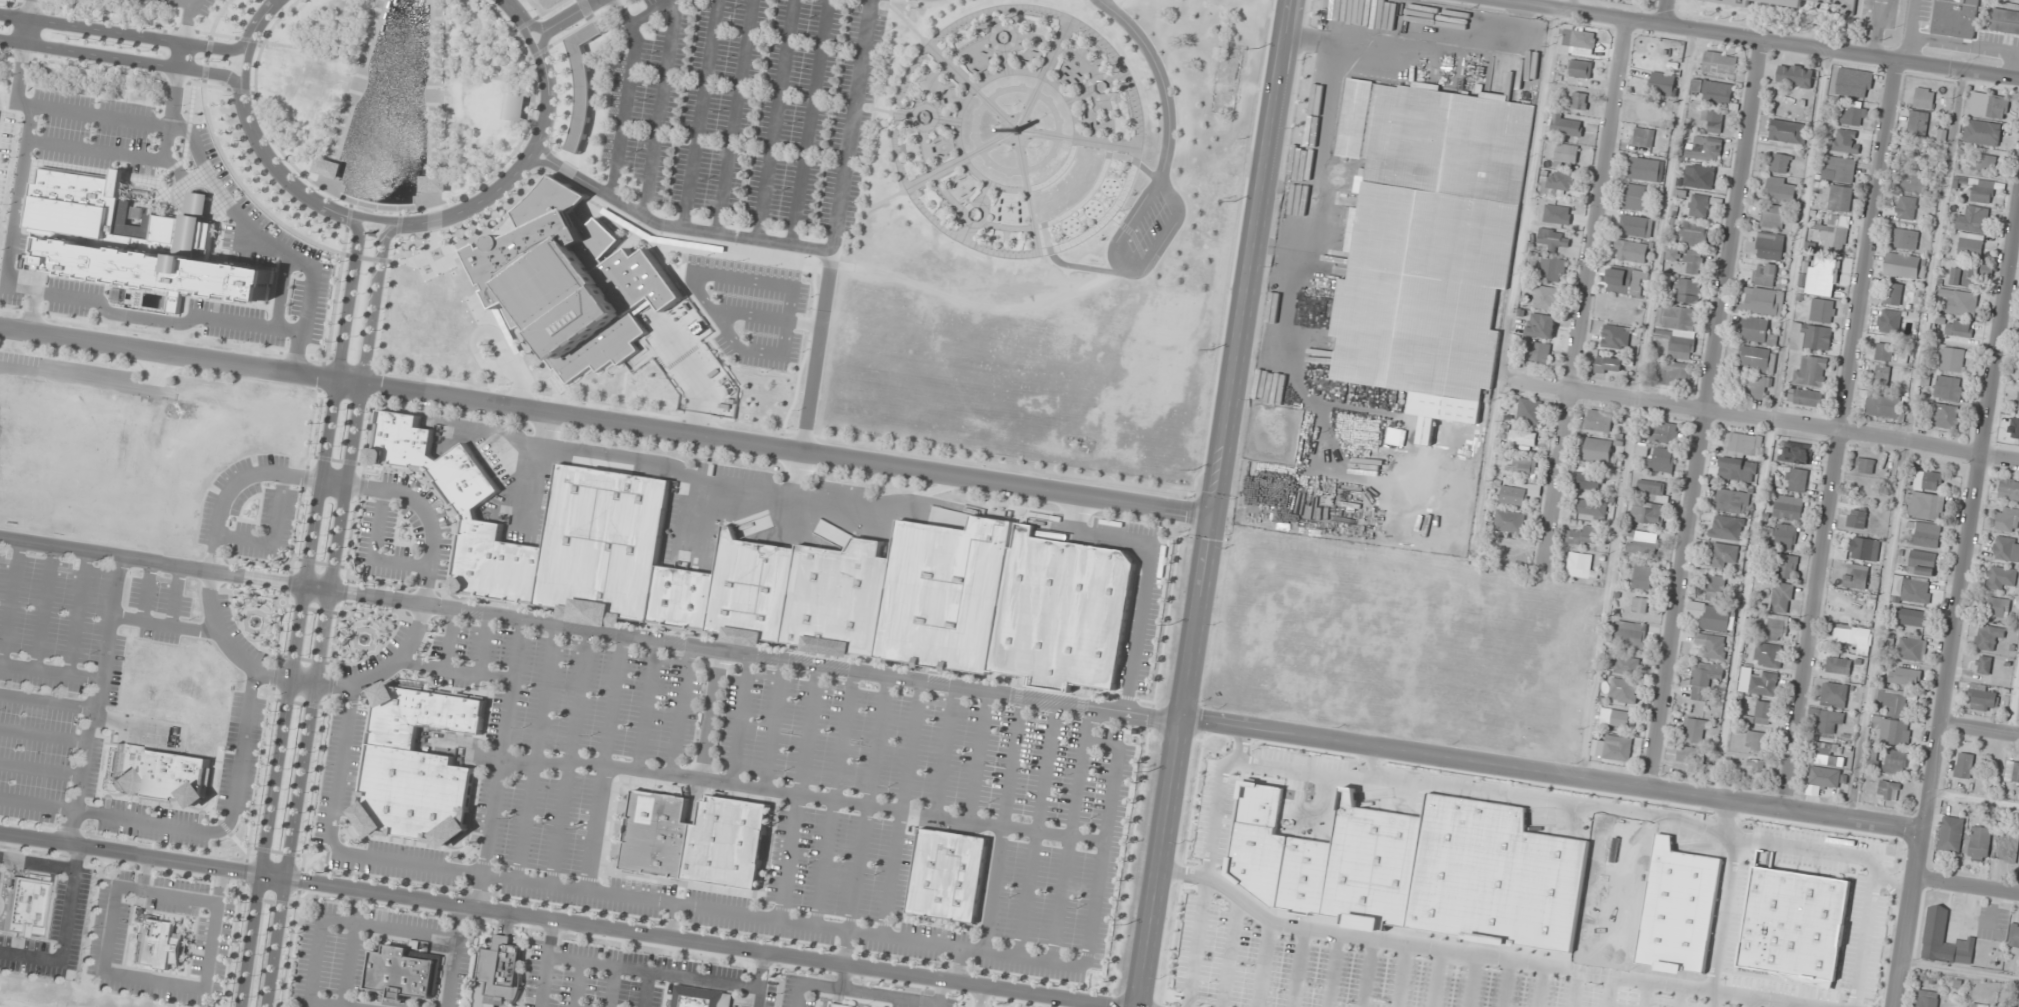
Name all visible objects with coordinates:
road: (273, 1)
road: (183, 2)
building: (1736, 2)
building: (1821, 5)
road: (648, 11)
road: (570, 13)
road: (1667, 13)
building: (1955, 18)
road: (30, 21)
building: (2005, 21)
road: (548, 28)
road: (128, 33)
road: (186, 33)
road: (1096, 37)
road: (482, 40)
road: (1760, 40)
road: (1002, 42)
road: (346, 55)
road: (359, 57)
road: (123, 58)
building: (1719, 63)
road: (953, 67)
building: (1581, 68)
road: (484, 75)
road: (1043, 75)
road: (1158, 81)
building: (583, 83)
building: (1662, 83)
building: (1854, 83)
road: (974, 87)
building: (1712, 91)
road: (353, 94)
road: (624, 95)
building: (1924, 98)
park: (396, 99)
building: (1579, 100)
road: (437, 102)
building: (1988, 105)
building: (518, 107)
road: (657, 107)
road: (64, 109)
road: (981, 111)
road: (171, 114)
road: (699, 114)
road: (732, 116)
building: (1854, 116)
road: (929, 117)
road: (774, 119)
building: (1713, 121)
road: (807, 122)
building: (1918, 124)
road: (849, 125)
building: (1567, 125)
park: (1014, 131)
building: (1787, 132)
building: (1983, 132)
road: (1038, 133)
building: (1643, 137)
building: (1845, 141)
building: (1706, 149)
road: (1021, 150)
road: (111, 152)
building: (1567, 153)
road: (963, 158)
building: (1780, 160)
building: (1986, 163)
building: (330, 168)
building: (1842, 168)
building: (1645, 169)
building: (1699, 176)
building: (1915, 181)
building: (1557, 183)
building: (436, 184)
building: (1780, 189)
building: (1983, 191)
building: (1635, 196)
building: (1840, 198)
road: (183, 201)
building: (1700, 205)
road: (399, 208)
building: (1907, 208)
road: (978, 210)
building: (1773, 216)
road: (933, 218)
building: (1973, 219)
road: (398, 224)
building: (1636, 226)
parking lot: (1141, 228)
road: (254, 229)
building: (1694, 234)
building: (1833, 234)
building: (1429, 235)
building: (136, 239)
building: (1554, 239)
building: (1905, 239)
road: (771, 241)
building: (1970, 245)
building: (1770, 246)
building: (1631, 251)
road: (1254, 257)
building: (1693, 262)
building: (1904, 265)
road: (1130, 267)
building: (1552, 269)
building: (1764, 274)
building: (1965, 276)
building: (1821, 278)
building: (1624, 280)
building: (574, 282)
road: (283, 290)
building: (1688, 291)
road: (1587, 292)
building: (1894, 293)
road: (788, 296)
road: (87, 297)
road: (352, 297)
building: (1548, 298)
building: (1760, 300)
building: (1961, 302)
building: (1618, 307)
road: (32, 309)
building: (1822, 311)
building: (418, 312)
road: (767, 317)
building: (1889, 321)
building: (1679, 328)
building: (1959, 329)
building: (1757, 330)
building: (1616, 337)
building: (1811, 337)
road: (170, 351)
building: (1884, 351)
building: (1538, 352)
building: (1757, 359)
building: (1952, 359)
building: (1608, 365)
road: (159, 370)
building: (1811, 371)
building: (1677, 374)
building: (1883, 375)
road: (78, 377)
building: (1753, 386)
building: (1949, 388)
building: (1805, 397)
building: (1883, 406)
building: (1529, 411)
road: (1706, 415)
building: (1947, 416)
road: (1764, 419)
building: (1599, 420)
building: (1664, 432)
road: (1842, 435)
building: (1523, 438)
building: (1743, 444)
road: (777, 446)
building: (1599, 450)
building: (1797, 453)
building: (1662, 460)
building: (1865, 465)
building: (1523, 466)
building: (1737, 470)
building: (1588, 480)
building: (1797, 480)
building: (1928, 480)
road: (345, 481)
road: (324, 482)
building: (2009, 489)
building: (1654, 490)
building: (1514, 496)
building: (1732, 500)
building: (1927, 505)
building: (1591, 507)
building: (1788, 507)
building: (1648, 513)
building: (1857, 518)
building: (2008, 520)
building: (1511, 522)
building: (1727, 527)
building: (1928, 534)
road: (275, 535)
building: (1583, 535)
building: (1785, 536)
building: (1643, 543)
building: (1864, 548)
building: (2007, 548)
road: (374, 550)
building: (1723, 554)
road: (154, 562)
building: (1922, 562)
building: (1788, 567)
building: (792, 576)
building: (1643, 576)
building: (1856, 576)
building: (2001, 577)
building: (1716, 587)
road: (142, 590)
building: (1916, 591)
road: (177, 595)
building: (1782, 597)
road: (8, 599)
building: (1640, 604)
road: (1960, 606)
building: (1997, 606)
road: (41, 607)
road: (74, 613)
road: (327, 614)
building: (1711, 616)
building: (1915, 618)
fountain: (258, 622)
road: (165, 623)
building: (1776, 627)
building: (1631, 634)
road: (450, 637)
building: (1856, 638)
fountain: (366, 639)
building: (1987, 639)
road: (485, 643)
building: (1711, 646)
building: (1912, 649)
road: (744, 653)
building: (1769, 655)
building: (1984, 664)
building: (1628, 666)
building: (1838, 666)
road: (457, 668)
road: (48, 672)
building: (1905, 676)
building: (1705, 679)
building: (1765, 684)
building: (1624, 690)
building: (1834, 695)
building: (1983, 697)
road: (94, 701)
road: (46, 702)
road: (648, 704)
road: (682, 710)
building: (1764, 712)
road: (711, 714)
building: (1615, 717)
road: (741, 719)
building: (1894, 719)
building: (1830, 721)
road: (775, 724)
road: (1981, 728)
building: (1696, 730)
road: (42, 735)
building: (1757, 741)
building: (1618, 747)
road: (945, 750)
road: (537, 751)
building: (1828, 754)
road: (980, 755)
building: (1691, 755)
road: (571, 756)
building: (1873, 758)
road: (1175, 761)
road: (500, 762)
road: (605, 762)
building: (1895, 762)
building: (1755, 765)
building: (1964, 765)
building: (417, 766)
road: (39, 770)
building: (2012, 772)
road: (1554, 774)
building: (158, 776)
building: (1827, 778)
building: (1889, 790)
road: (800, 791)
road: (789, 792)
road: (275, 796)
road: (835, 797)
road: (903, 808)
road: (1641, 812)
road: (1722, 817)
road: (1003, 822)
road: (1037, 828)
road: (194, 830)
road: (864, 831)
road: (1070, 833)
building: (1951, 834)
building: (699, 839)
building: (1978, 842)
building: (2008, 846)
road: (36, 863)
road: (146, 873)
building: (948, 876)
building: (1482, 879)
road: (1968, 885)
road: (181, 896)
building: (19, 907)
road: (750, 914)
road: (1723, 914)
road: (561, 920)
building: (1793, 925)
road: (406, 930)
road: (62, 931)
building: (2014, 935)
road: (1862, 938)
building: (1944, 939)
road: (1196, 942)
building: (158, 946)
road: (352, 947)
road: (1229, 952)
road: (454, 955)
road: (1477, 955)
road: (314, 960)
road: (547, 963)
road: (959, 964)
road: (1262, 964)
road: (1297, 968)
road: (1332, 970)
road: (654, 971)
building: (499, 973)
road: (1365, 973)
building: (401, 974)
road: (1399, 976)
road: (1435, 978)
road: (761, 979)
road: (156, 981)
road: (1471, 981)
road: (1505, 983)
road: (578, 984)
road: (811, 984)
road: (613, 986)
road: (1540, 986)
road: (646, 989)
road: (1575, 989)
road: (1610, 991)
road: (939, 993)
road: (1646, 994)
road: (890, 995)
road: (980, 996)
building: (700, 997)
road: (1680, 997)
building: (1925, 998)
road: (1715, 999)
road: (1749, 1002)
road: (1078, 1003)
building: (840, 1005)
road: (1783, 1005)
building: (1953, 1005)

